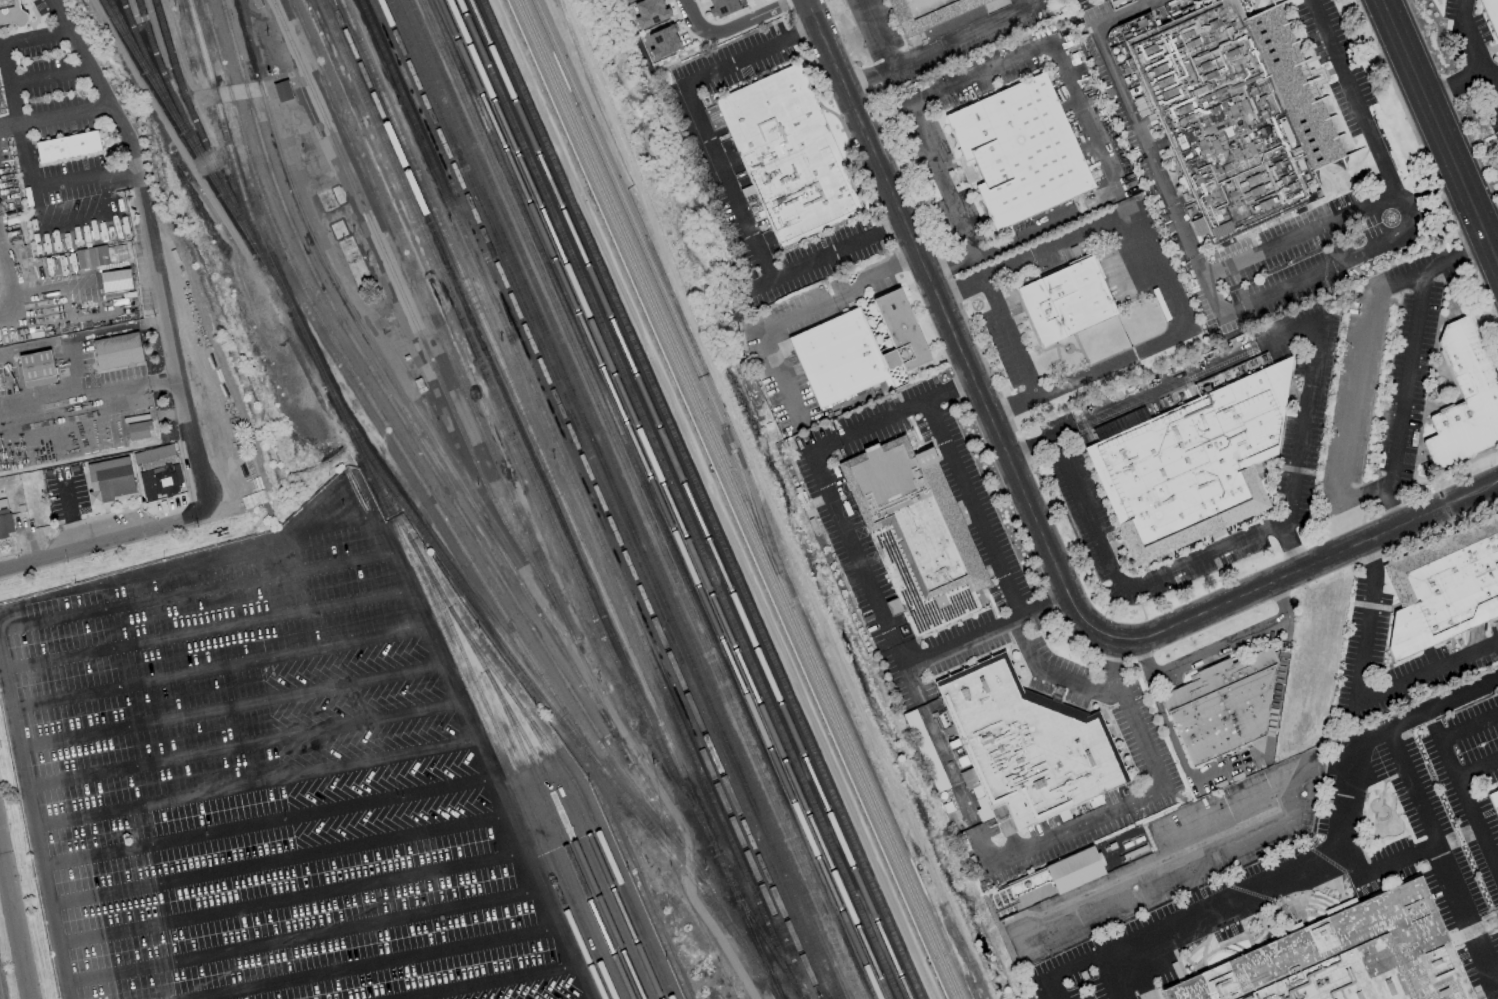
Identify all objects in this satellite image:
building: (745, 0)
building: (629, 1)
building: (725, 7)
building: (1493, 11)
building: (652, 12)
building: (10, 13)
building: (934, 13)
road: (807, 16)
railway: (118, 22)
road: (732, 27)
road: (803, 29)
road: (36, 35)
road: (878, 35)
road: (962, 38)
building: (663, 42)
road: (1474, 47)
road: (83, 50)
railway: (143, 55)
road: (50, 74)
road: (978, 74)
road: (9, 82)
road: (868, 83)
railway: (165, 86)
road: (1458, 87)
building: (282, 91)
road: (54, 113)
railway: (190, 116)
road: (1086, 117)
building: (1230, 117)
road: (1439, 130)
road: (1368, 133)
building: (68, 147)
building: (1025, 153)
building: (788, 155)
railway: (199, 157)
road: (727, 179)
road: (939, 182)
road: (50, 183)
road: (138, 186)
road: (71, 218)
road: (1490, 223)
road: (888, 225)
road: (1047, 225)
road: (1299, 234)
road: (1190, 245)
road: (1033, 254)
building: (101, 255)
road: (1432, 268)
road: (950, 269)
road: (1162, 270)
road: (878, 274)
building: (115, 280)
railway: (659, 284)
building: (1070, 303)
railway: (415, 323)
road: (764, 335)
road: (1011, 337)
road: (956, 345)
building: (117, 351)
building: (858, 351)
railway: (482, 367)
building: (36, 368)
road: (1090, 374)
railway: (460, 382)
road: (91, 396)
road: (186, 396)
railway: (368, 398)
road: (1357, 399)
building: (1468, 400)
road: (1403, 401)
road: (905, 411)
railway: (516, 423)
building: (1121, 423)
building: (138, 430)
road: (1028, 448)
road: (731, 451)
building: (153, 454)
railway: (425, 458)
building: (1195, 465)
building: (110, 479)
building: (161, 479)
road: (1364, 495)
railway: (560, 499)
railway: (589, 499)
railway: (599, 499)
railway: (609, 499)
railway: (619, 499)
railway: (628, 499)
railway: (638, 499)
railway: (649, 499)
railway: (658, 499)
railway: (667, 499)
railway: (678, 499)
railway: (689, 499)
railway: (701, 499)
railway: (733, 499)
railway: (742, 499)
railway: (469, 500)
railway: (579, 500)
road: (973, 510)
park: (843, 514)
railway: (424, 531)
road: (846, 533)
building: (915, 534)
road: (97, 539)
road: (1292, 548)
road: (1102, 555)
road: (1308, 567)
road: (402, 580)
building: (1443, 588)
road: (195, 592)
road: (1282, 600)
road: (1017, 627)
road: (205, 631)
road: (988, 631)
road: (1219, 648)
road: (901, 654)
road: (1143, 658)
road: (217, 667)
road: (1110, 667)
road: (1054, 673)
road: (913, 682)
railway: (507, 689)
road: (1358, 689)
building: (1222, 706)
road: (229, 707)
road: (1468, 725)
railway: (484, 727)
road: (239, 745)
building: (1025, 745)
road: (1476, 768)
railway: (514, 769)
road: (288, 774)
road: (955, 780)
parking lot: (269, 781)
road: (250, 785)
road: (1462, 795)
building: (1496, 797)
railway: (544, 801)
building: (1094, 801)
road: (1132, 803)
road: (30, 823)
road: (263, 823)
railway: (570, 831)
railway: (590, 838)
road: (1179, 848)
road: (1444, 856)
road: (274, 860)
road: (1310, 863)
road: (1374, 870)
road: (287, 899)
road: (14, 926)
railway: (757, 927)
road: (299, 937)
building: (1346, 958)
road: (366, 964)
road: (1111, 974)
road: (487, 983)
road: (1052, 985)

